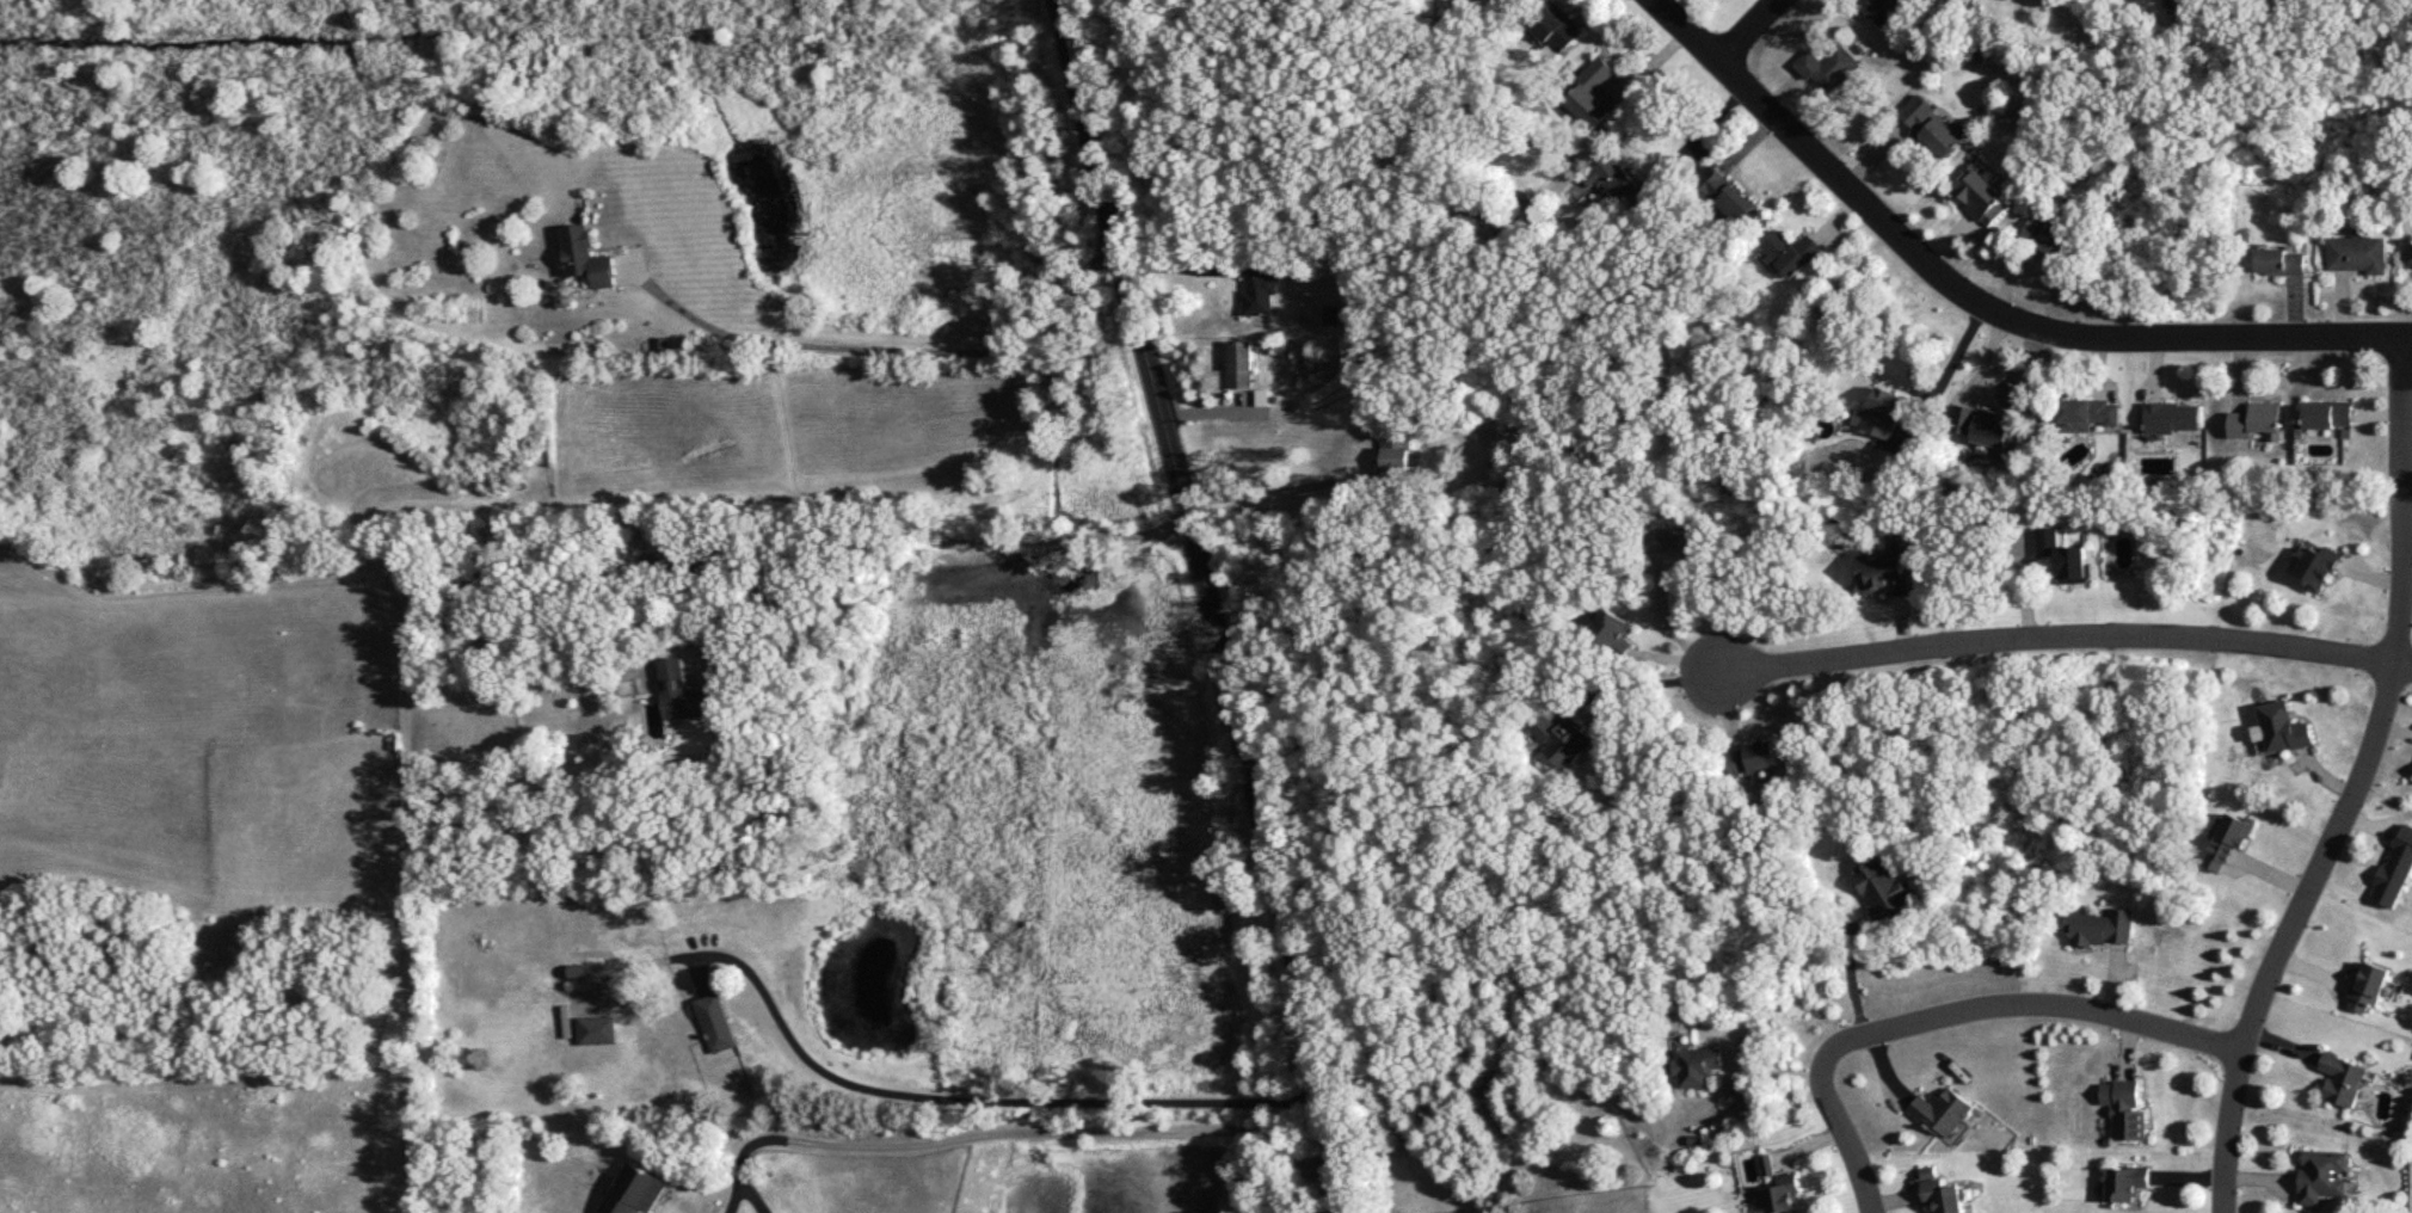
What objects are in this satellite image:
building: (1883, 10)
building: (1556, 26)
road: (1746, 27)
building: (1828, 66)
building: (1592, 92)
building: (1930, 124)
road: (1700, 129)
building: (1620, 181)
building: (1727, 192)
building: (1977, 195)
building: (2044, 235)
building: (1792, 251)
building: (2357, 253)
building: (586, 255)
building: (2278, 260)
building: (1259, 287)
road: (1980, 297)
road: (894, 347)
building: (1239, 363)
road: (1945, 370)
building: (1261, 395)
building: (1881, 412)
building: (2086, 413)
building: (2328, 413)
building: (2171, 415)
building: (2257, 420)
building: (1981, 425)
building: (1398, 449)
road: (1275, 489)
road: (921, 537)
building: (1679, 537)
building: (666, 550)
building: (2063, 555)
building: (2318, 566)
building: (1885, 569)
road: (1205, 605)
road: (1672, 627)
building: (1613, 629)
road: (2060, 633)
road: (2405, 663)
road: (1643, 684)
building: (682, 690)
building: (2281, 726)
building: (1563, 738)
building: (1753, 757)
road: (2361, 783)
building: (2229, 839)
building: (2395, 868)
building: (1882, 887)
building: (2099, 925)
building: (2367, 986)
road: (1944, 1006)
building: (715, 1021)
building: (593, 1029)
building: (1697, 1064)
building: (2342, 1078)
road: (918, 1096)
building: (2122, 1108)
building: (1940, 1110)
road: (1011, 1137)
building: (2321, 1175)
building: (2123, 1182)
building: (634, 1190)
building: (1939, 1192)
building: (1782, 1194)

